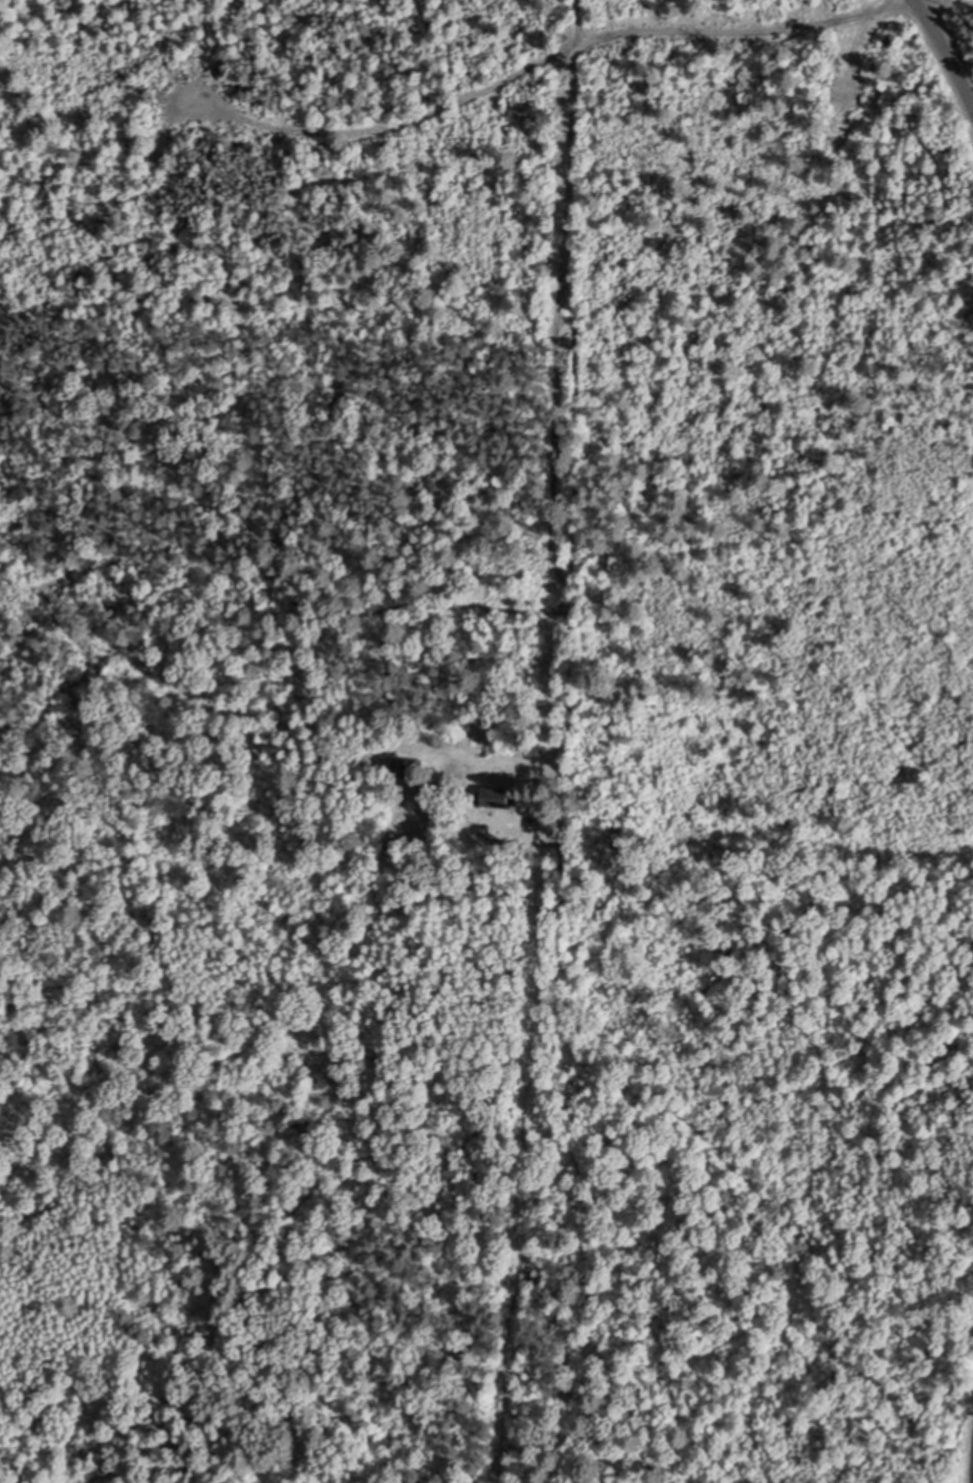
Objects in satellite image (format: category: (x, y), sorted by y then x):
road: (944, 53)
road: (548, 835)

